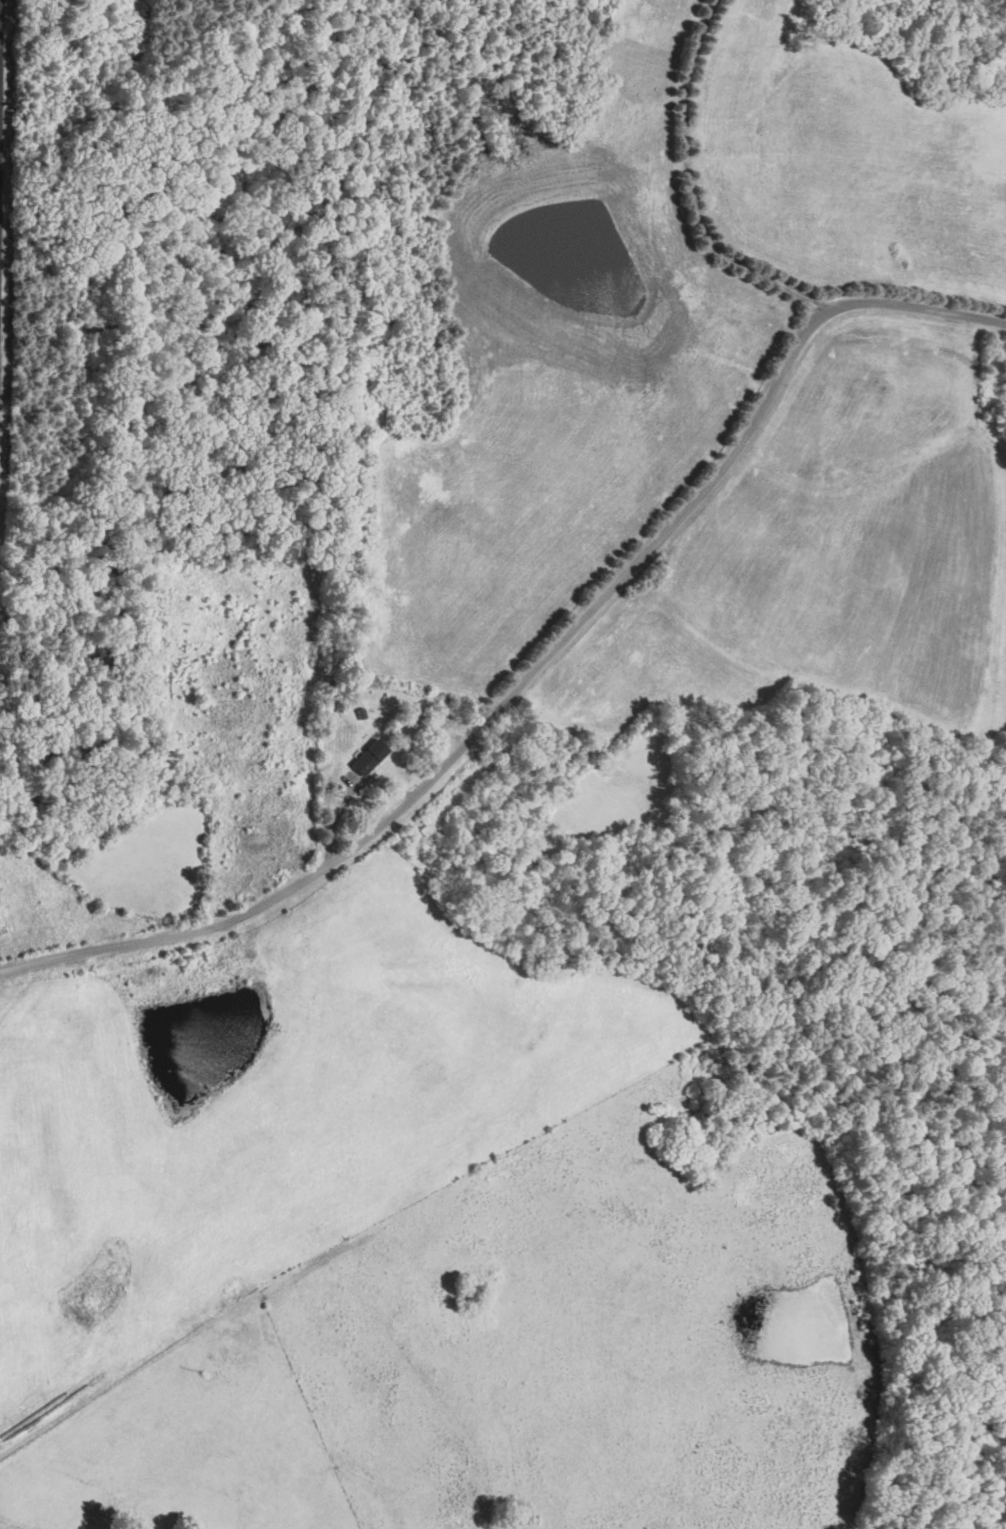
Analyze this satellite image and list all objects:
road: (687, 184)
road: (826, 310)
building: (366, 755)
road: (414, 797)

